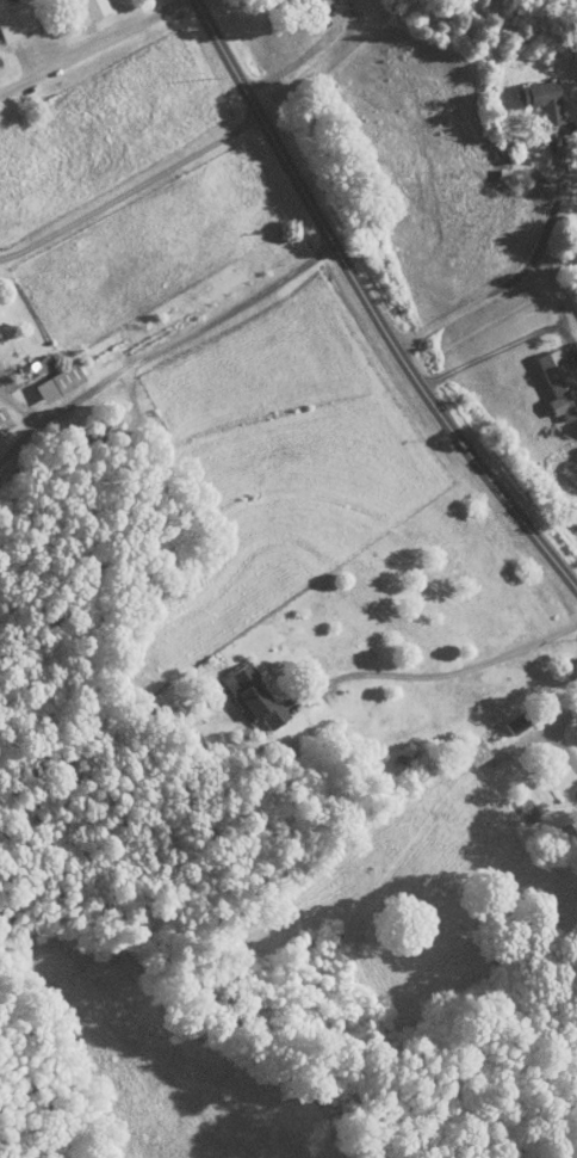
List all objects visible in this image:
building: (83, 10)
building: (317, 14)
building: (15, 20)
road: (91, 47)
road: (298, 60)
building: (541, 98)
road: (130, 189)
road: (510, 275)
road: (371, 303)
road: (213, 320)
road: (504, 346)
building: (57, 382)
building: (558, 384)
road: (44, 413)
building: (4, 420)
road: (415, 670)
building: (253, 695)
building: (515, 722)
road: (559, 733)

